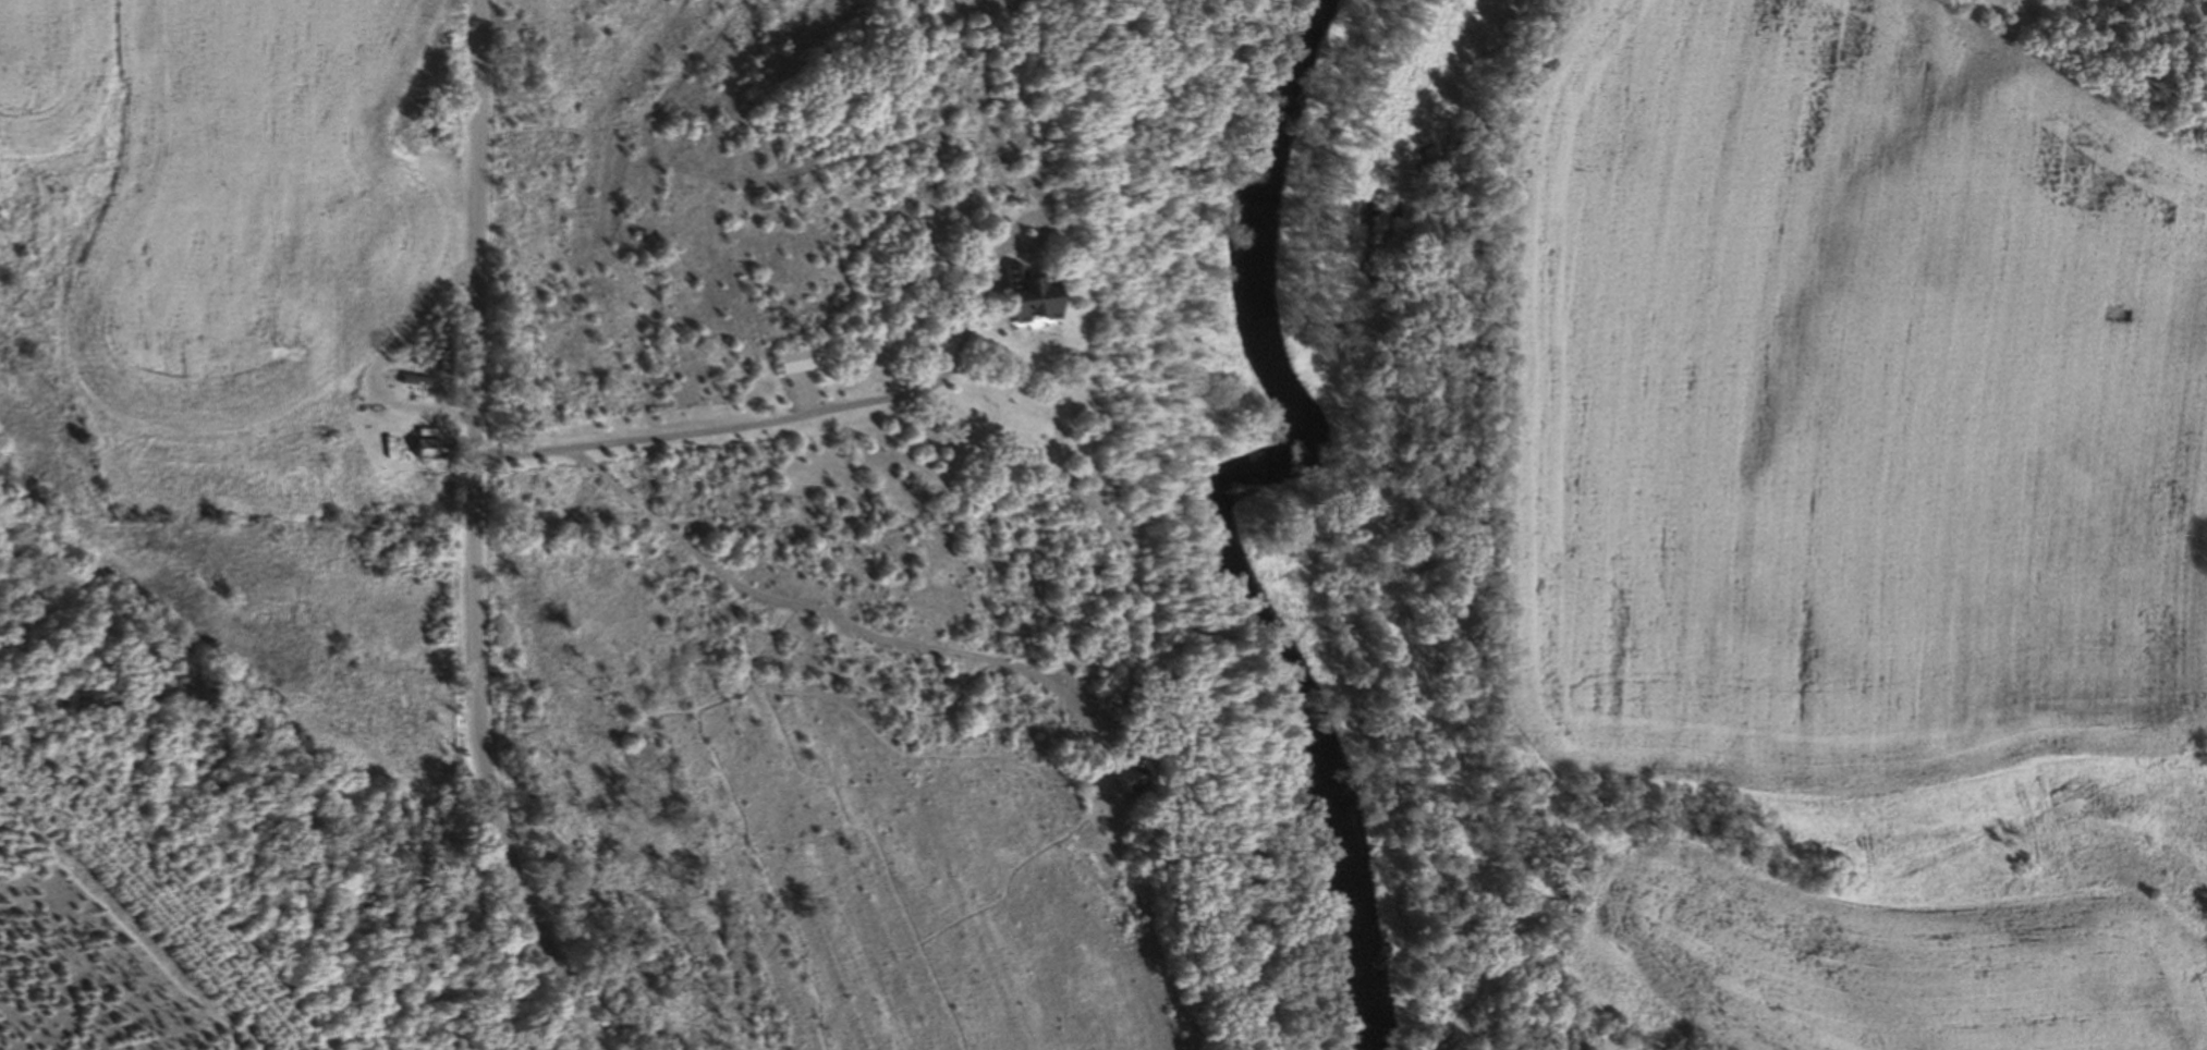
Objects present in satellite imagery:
building: (1019, 297)
building: (785, 361)
road: (836, 405)
river: (1212, 501)
road: (470, 535)
road: (821, 610)
building: (1120, 777)

